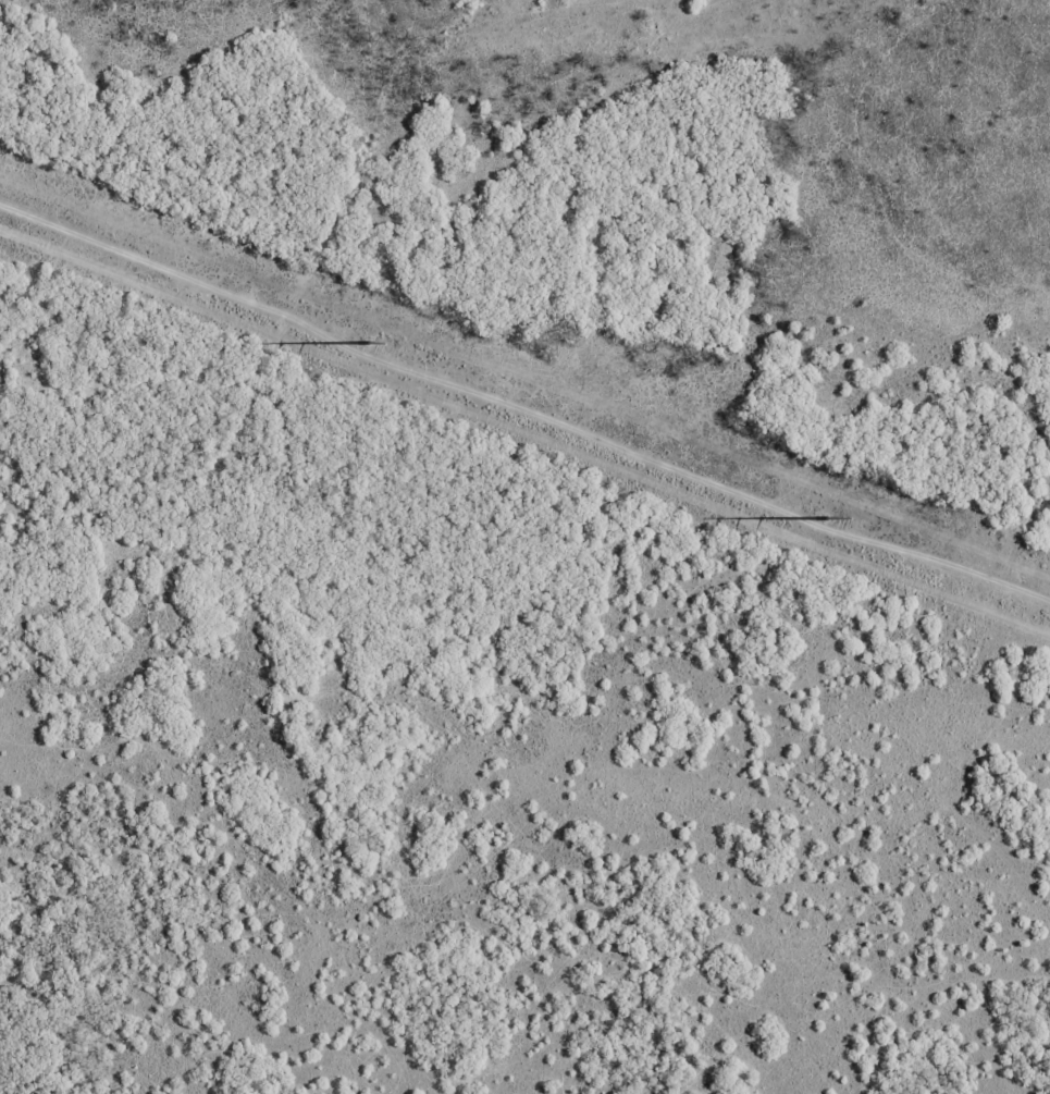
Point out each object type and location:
power tower: (378, 347)
power tower: (836, 523)

